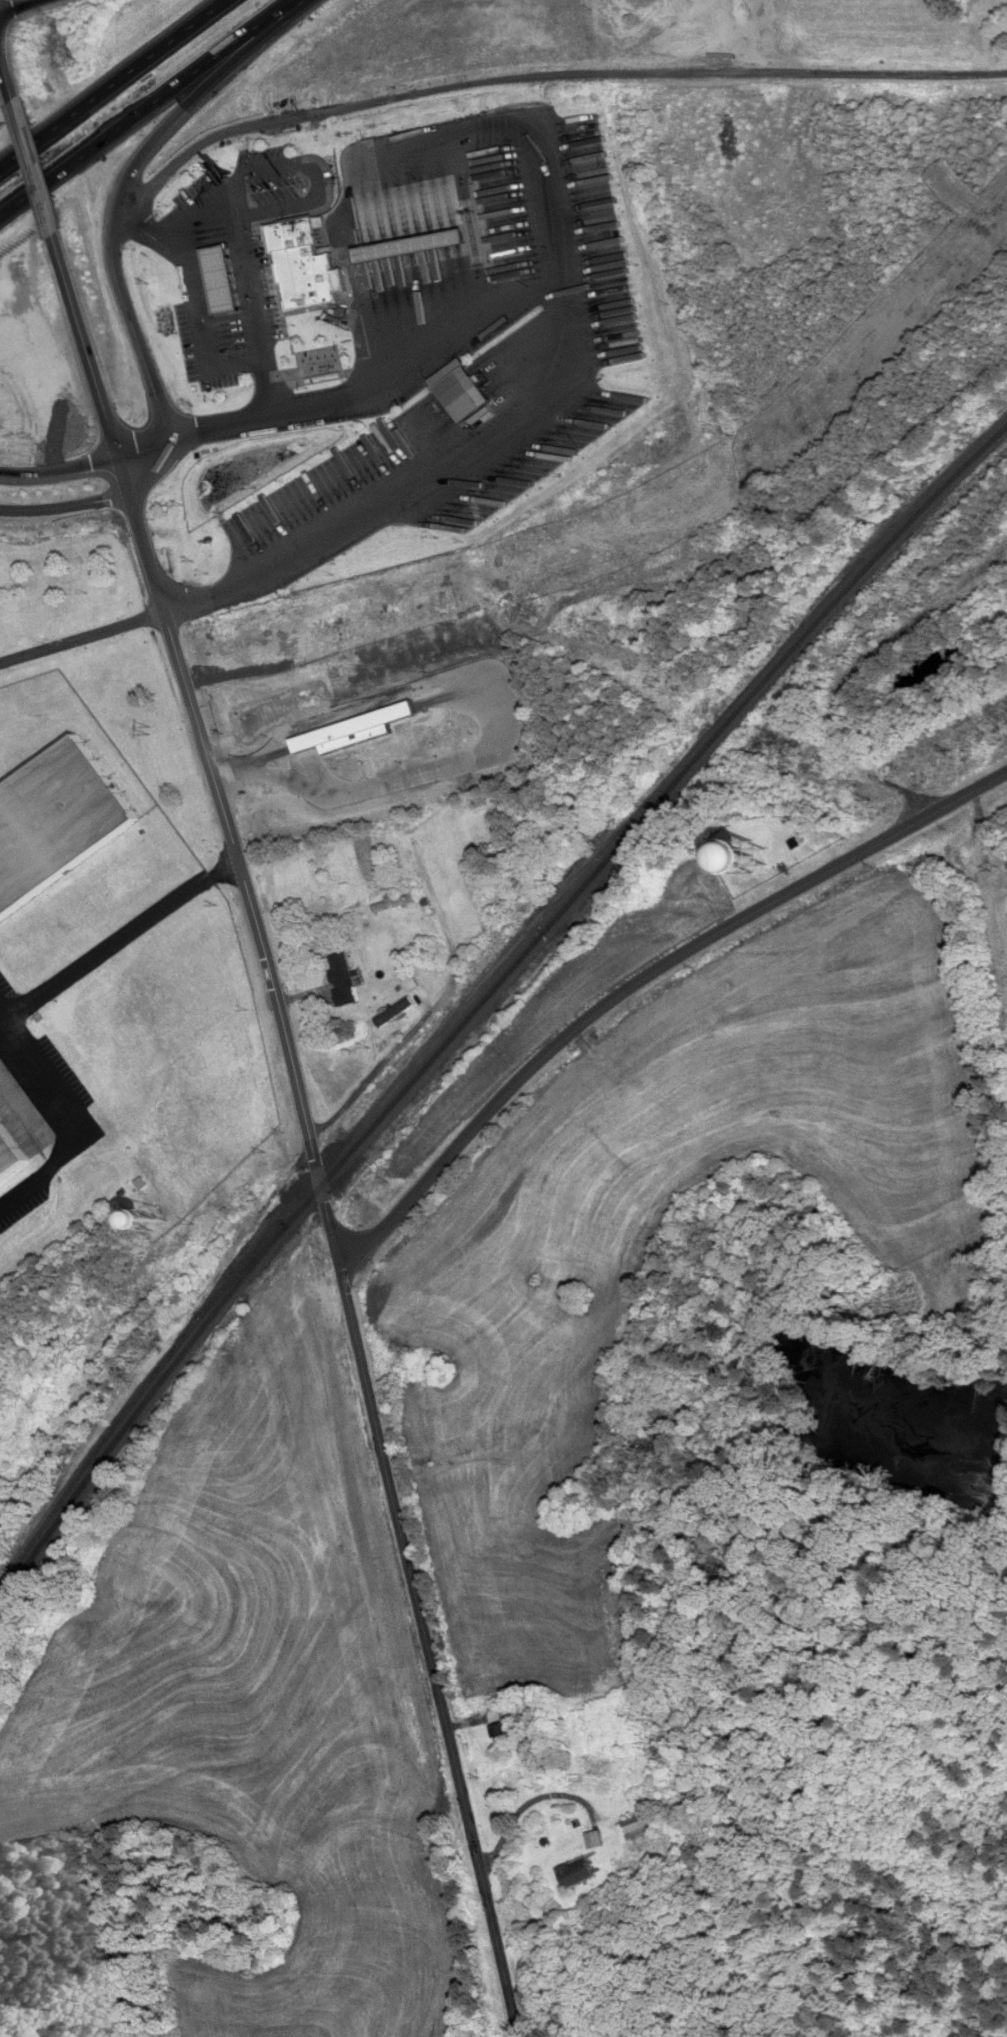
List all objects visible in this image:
road: (111, 83)
road: (149, 109)
road: (216, 151)
road: (313, 168)
road: (13, 198)
road: (205, 233)
building: (408, 247)
building: (300, 264)
building: (219, 280)
road: (20, 296)
road: (553, 330)
building: (456, 387)
road: (91, 454)
road: (638, 524)
road: (66, 609)
building: (290, 640)
road: (42, 650)
road: (203, 775)
building: (56, 823)
railway: (638, 823)
water tower: (753, 856)
building: (364, 862)
building: (752, 862)
road: (123, 961)
building: (342, 981)
road: (642, 984)
road: (407, 1039)
road: (61, 1113)
building: (9, 1156)
water tower: (156, 1221)
building: (152, 1225)
railway: (247, 1279)
railway: (134, 1405)
road: (385, 1460)
railway: (97, 1473)
building: (505, 1732)
building: (696, 1793)
building: (643, 1825)
building: (576, 1874)

